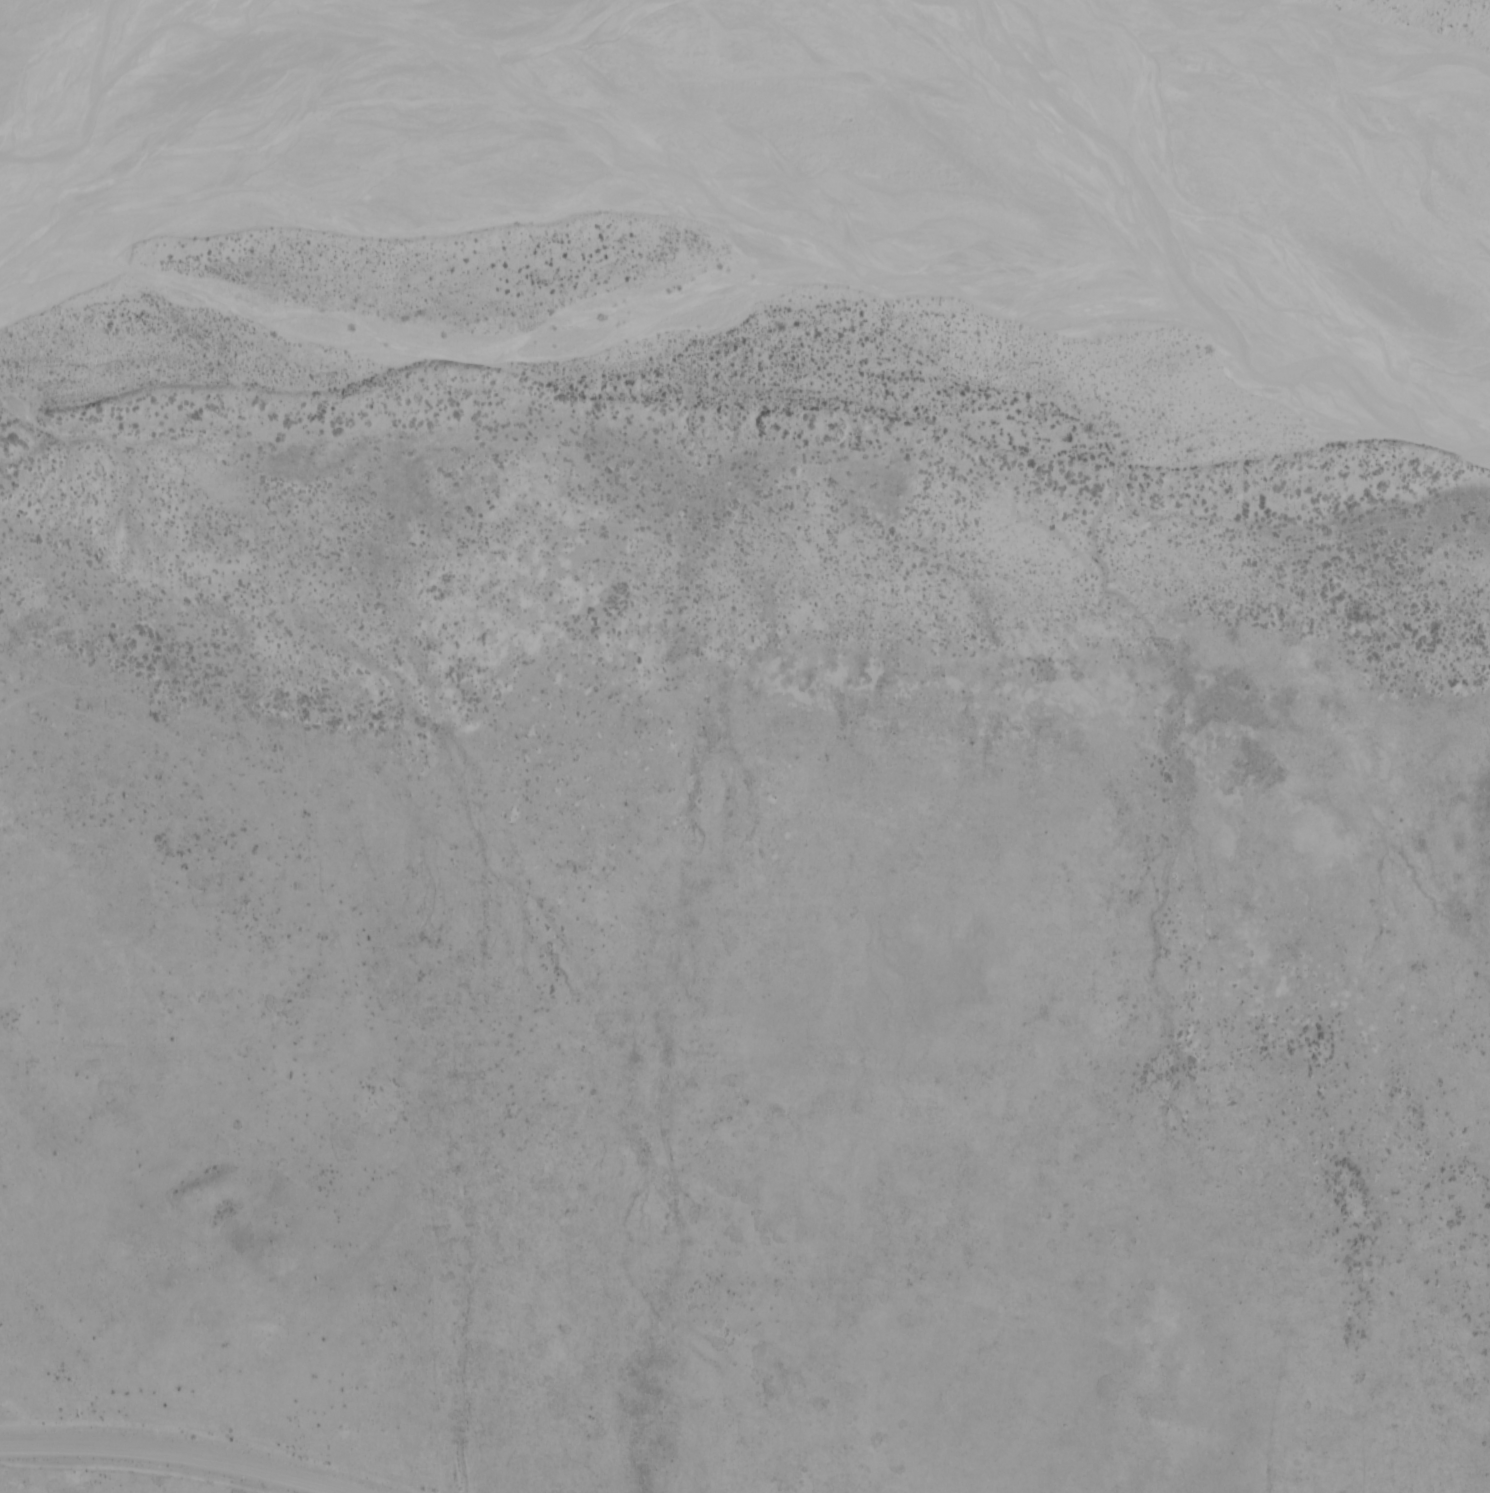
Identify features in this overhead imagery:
river: (745, 312)
road: (178, 1453)

